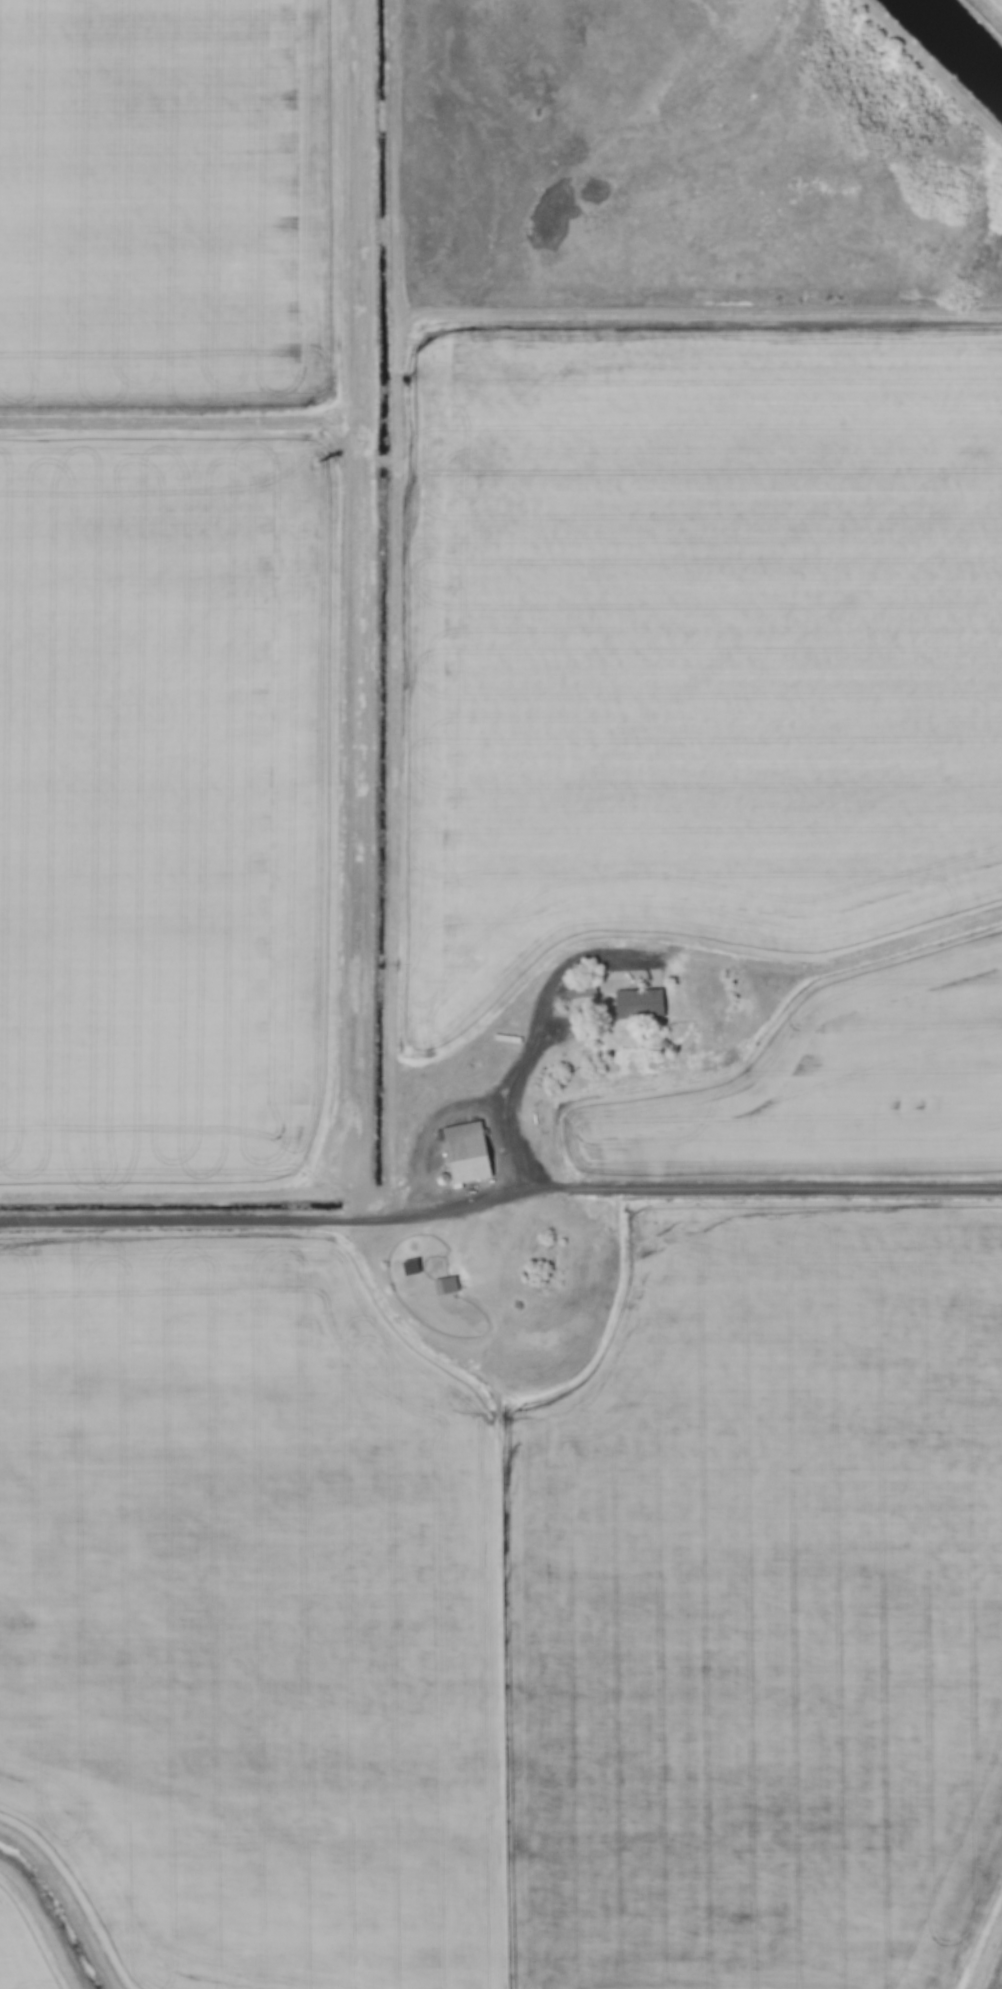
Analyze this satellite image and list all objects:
river: (960, 41)
building: (577, 990)
building: (635, 1005)
building: (461, 1153)
road: (499, 1188)
building: (441, 1285)

